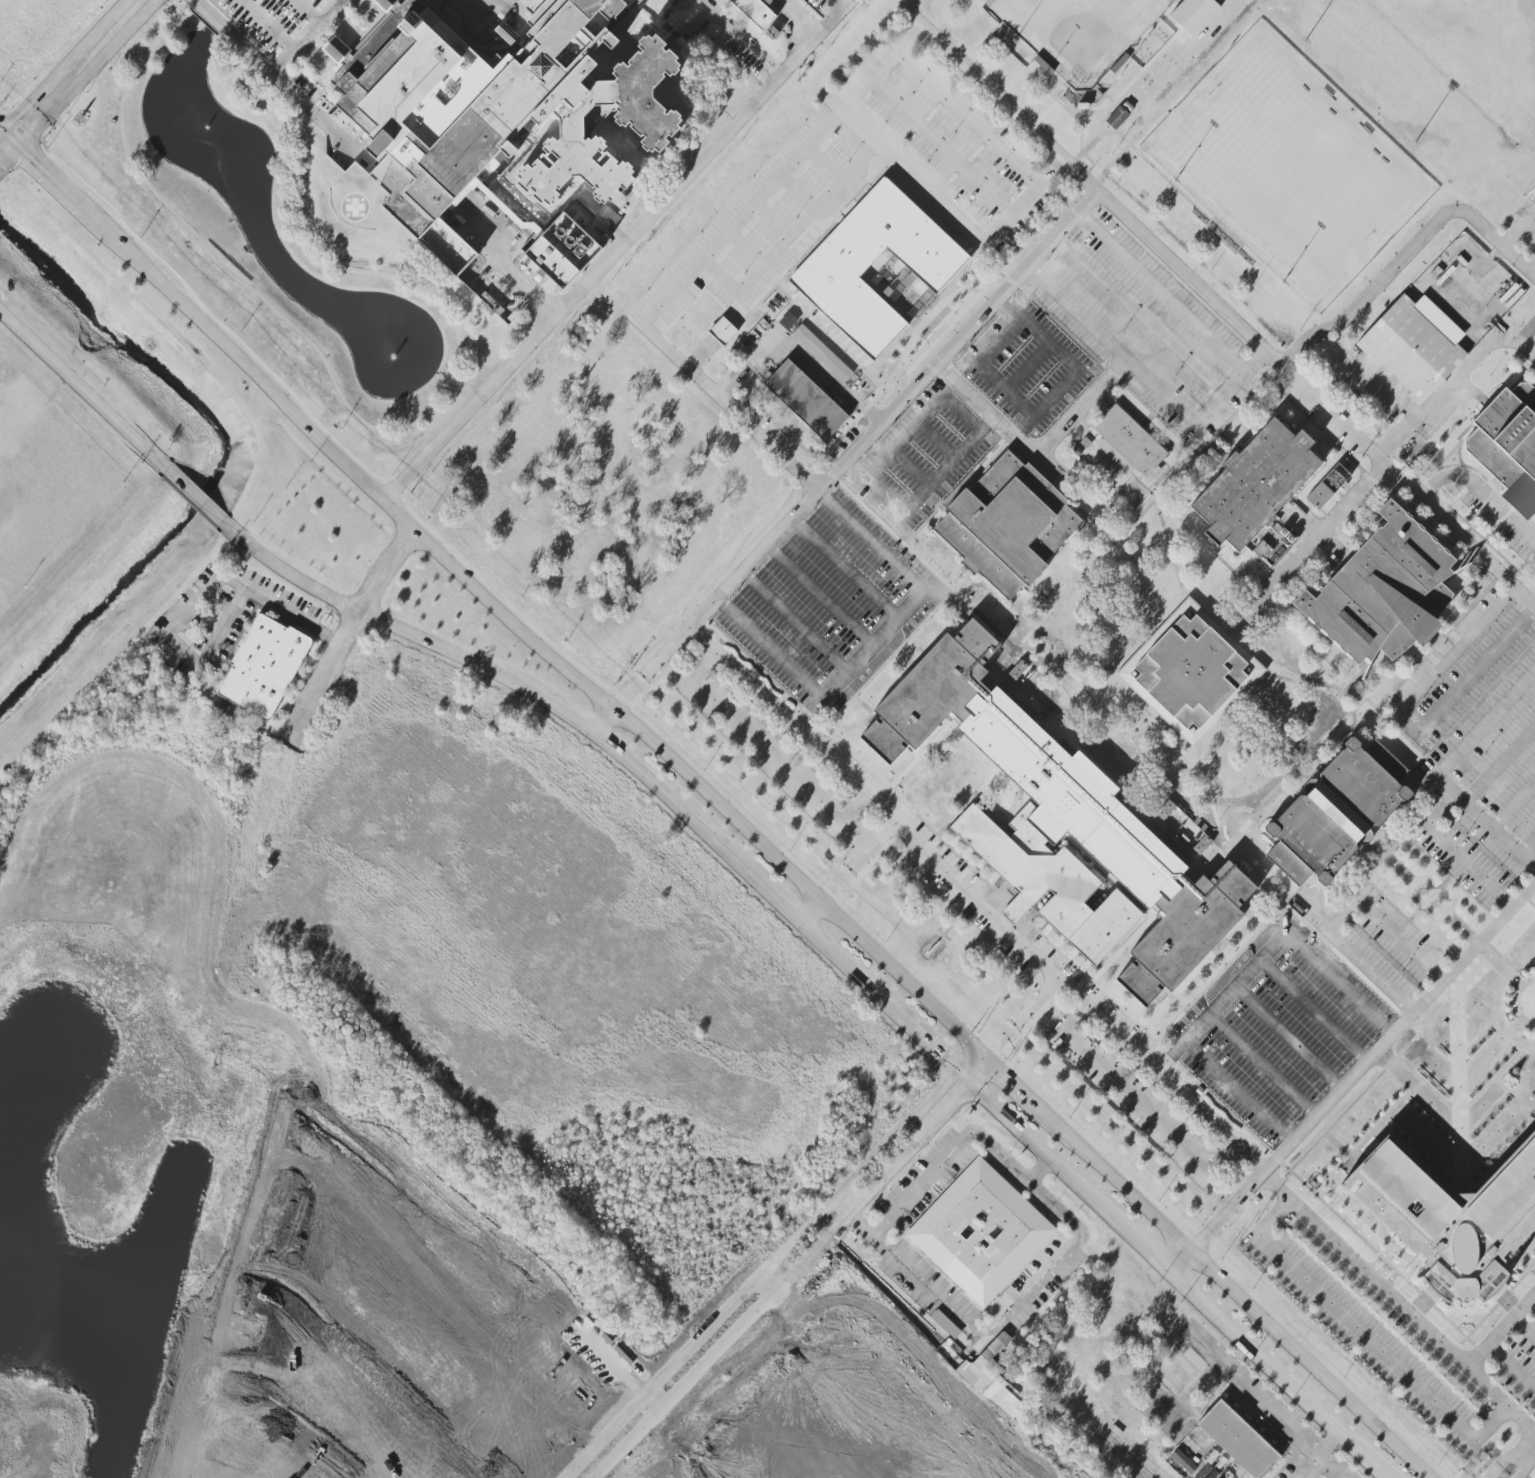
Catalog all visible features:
road: (705, 3)
building: (723, 3)
road: (483, 4)
road: (492, 4)
road: (308, 11)
building: (1193, 15)
road: (796, 20)
road: (267, 24)
park: (1076, 32)
road: (680, 33)
road: (306, 35)
road: (747, 41)
road: (66, 66)
road: (274, 71)
road: (89, 74)
road: (1000, 98)
building: (524, 111)
road: (968, 118)
building: (1117, 118)
road: (2, 130)
road: (2, 134)
road: (12, 140)
parking lot: (942, 146)
road: (942, 147)
road: (13, 157)
road: (826, 164)
park: (1290, 165)
road: (2, 168)
road: (783, 174)
road: (52, 178)
road: (798, 193)
helipad: (355, 208)
road: (956, 216)
parking lot: (1521, 217)
road: (772, 221)
road: (1518, 227)
parking lot: (755, 233)
road: (789, 236)
road: (746, 248)
building: (563, 250)
road: (616, 254)
road: (1406, 259)
road: (508, 267)
building: (832, 267)
road: (1533, 272)
road: (719, 277)
road: (1163, 295)
road: (1464, 311)
building: (705, 320)
road: (1136, 322)
parking lot: (1143, 328)
building: (722, 331)
road: (1525, 332)
road: (1516, 342)
road: (1112, 347)
building: (1413, 350)
road: (797, 352)
building: (822, 353)
parking lot: (1533, 363)
road: (1070, 365)
road: (984, 367)
parking lot: (1027, 367)
road: (1332, 378)
road: (1382, 389)
road: (1232, 390)
road: (87, 396)
road: (1435, 396)
building: (805, 400)
road: (1316, 400)
road: (731, 406)
road: (1081, 407)
road: (997, 420)
road: (385, 431)
building: (1131, 441)
building: (1509, 445)
road: (855, 450)
parking lot: (921, 458)
building: (1257, 485)
building: (1327, 487)
road: (1478, 491)
road: (922, 494)
road: (205, 506)
road: (1160, 519)
building: (1008, 524)
road: (1308, 526)
building: (1273, 542)
road: (1304, 550)
road: (845, 567)
road: (1482, 572)
building: (1385, 592)
road: (819, 595)
road: (1532, 597)
parking lot: (829, 603)
road: (1257, 603)
road: (1117, 605)
road: (195, 606)
road: (907, 606)
road: (794, 621)
road: (381, 623)
road: (342, 632)
road: (530, 634)
road: (1224, 635)
road: (769, 648)
road: (1064, 662)
building: (263, 668)
building: (1019, 673)
building: (1193, 673)
road: (563, 714)
road: (601, 721)
road: (1485, 722)
road: (1143, 724)
road: (1405, 726)
road: (1047, 729)
road: (1260, 739)
road: (765, 750)
parking lot: (767, 751)
parking lot: (1458, 797)
road: (1209, 798)
road: (664, 801)
road: (874, 803)
building: (1338, 814)
road: (1485, 821)
building: (1062, 826)
road: (1434, 828)
road: (858, 862)
road: (770, 896)
road: (812, 913)
road: (1269, 949)
road: (1362, 961)
road: (853, 973)
road: (1314, 1009)
road: (1022, 1016)
road: (1398, 1025)
parking lot: (1278, 1029)
road: (1286, 1038)
road: (933, 1053)
road: (1262, 1064)
road: (973, 1070)
road: (1159, 1074)
road: (1013, 1081)
road: (1237, 1090)
road: (1133, 1100)
parking lot: (1136, 1101)
road: (1041, 1151)
road: (895, 1152)
road: (948, 1157)
road: (1226, 1208)
building: (1454, 1218)
building: (980, 1232)
road: (1144, 1247)
road: (1181, 1259)
road: (1238, 1290)
road: (1398, 1300)
road: (1003, 1319)
road: (1502, 1334)
road: (1367, 1338)
road: (707, 1349)
road: (1273, 1371)
building: (992, 1378)
road: (1314, 1387)
road: (1254, 1397)
building: (1238, 1440)
road: (1532, 1444)
road: (1329, 1447)
road: (1134, 1455)
road: (1506, 1458)
building: (1183, 1462)
road: (1528, 1462)
road: (1309, 1469)
road: (1327, 1469)
road: (1382, 1474)

